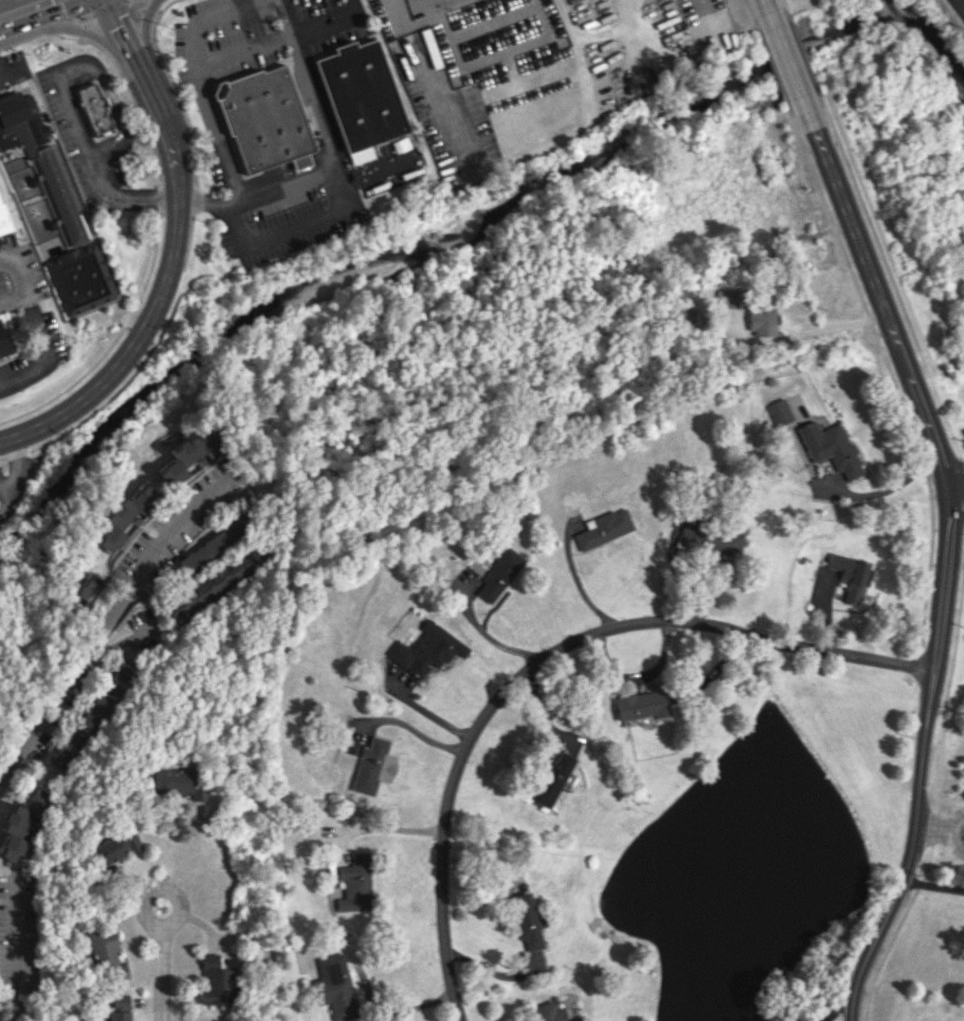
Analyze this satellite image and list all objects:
road: (351, 5)
road: (784, 7)
road: (958, 7)
road: (5, 8)
road: (25, 8)
road: (767, 9)
road: (749, 12)
road: (698, 13)
road: (0, 17)
road: (320, 23)
road: (73, 26)
road: (141, 30)
road: (120, 31)
road: (577, 48)
road: (483, 54)
road: (802, 54)
road: (242, 55)
road: (788, 60)
road: (771, 67)
road: (7, 69)
parking lot: (13, 71)
road: (198, 89)
building: (359, 97)
road: (130, 103)
building: (93, 107)
road: (113, 114)
building: (262, 117)
road: (89, 150)
road: (375, 170)
road: (280, 189)
road: (157, 197)
road: (346, 204)
building: (56, 207)
building: (4, 219)
parking lot: (6, 247)
road: (888, 276)
parking lot: (0, 278)
road: (21, 282)
road: (162, 285)
building: (726, 297)
building: (760, 320)
road: (800, 333)
road: (112, 340)
building: (3, 345)
road: (44, 359)
road: (890, 375)
building: (776, 412)
building: (828, 447)
building: (185, 456)
road: (953, 464)
road: (14, 475)
road: (962, 475)
road: (7, 482)
road: (884, 488)
road: (956, 502)
building: (124, 516)
building: (604, 528)
building: (706, 539)
road: (946, 556)
road: (673, 567)
building: (499, 575)
building: (850, 575)
road: (578, 583)
building: (82, 589)
road: (108, 619)
road: (484, 633)
building: (427, 650)
road: (549, 658)
road: (636, 674)
road: (946, 689)
building: (641, 705)
road: (430, 714)
road: (419, 733)
building: (372, 766)
building: (552, 778)
building: (172, 783)
road: (950, 802)
building: (19, 822)
road: (361, 828)
road: (932, 829)
road: (933, 829)
road: (952, 832)
road: (190, 846)
building: (116, 847)
building: (354, 883)
road: (932, 885)
road: (156, 889)
building: (527, 921)
road: (893, 930)
road: (19, 951)
building: (106, 953)
road: (161, 973)
road: (497, 974)
building: (217, 982)
building: (335, 986)
building: (120, 1008)
road: (375, 1008)
building: (550, 1011)

